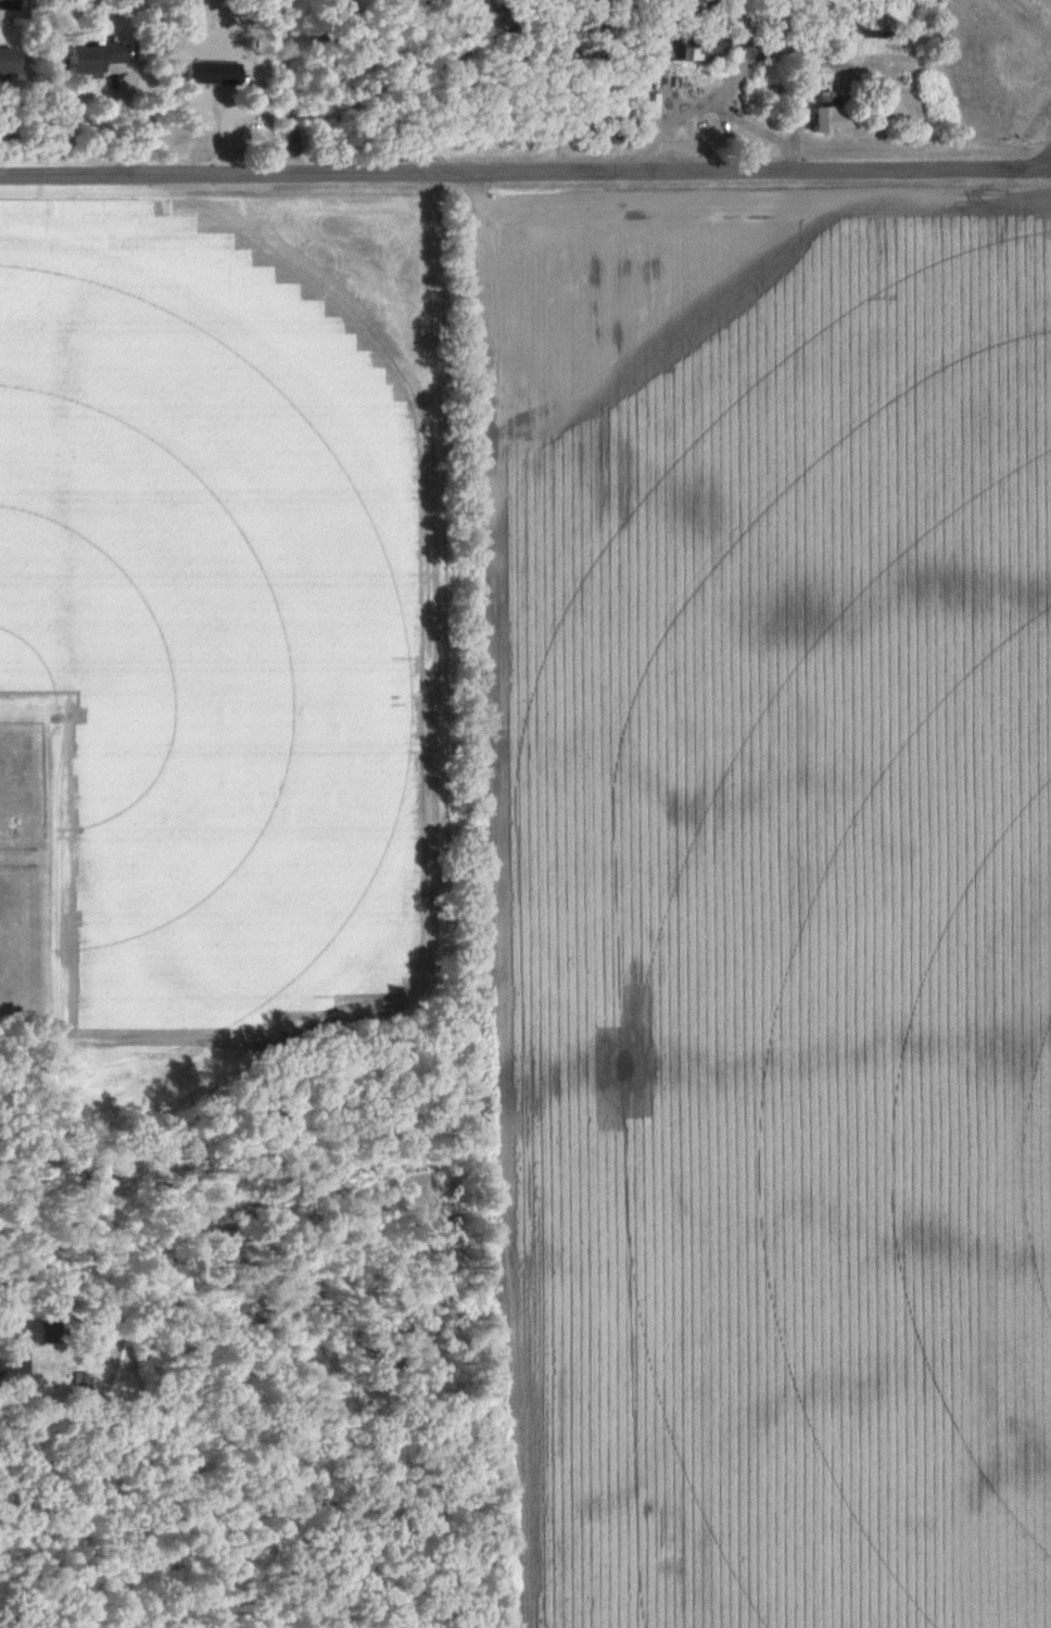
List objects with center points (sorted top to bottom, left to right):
building: (874, 13)
building: (705, 48)
building: (96, 61)
building: (11, 63)
building: (831, 117)
road: (525, 174)
building: (38, 1333)
building: (1, 1370)

